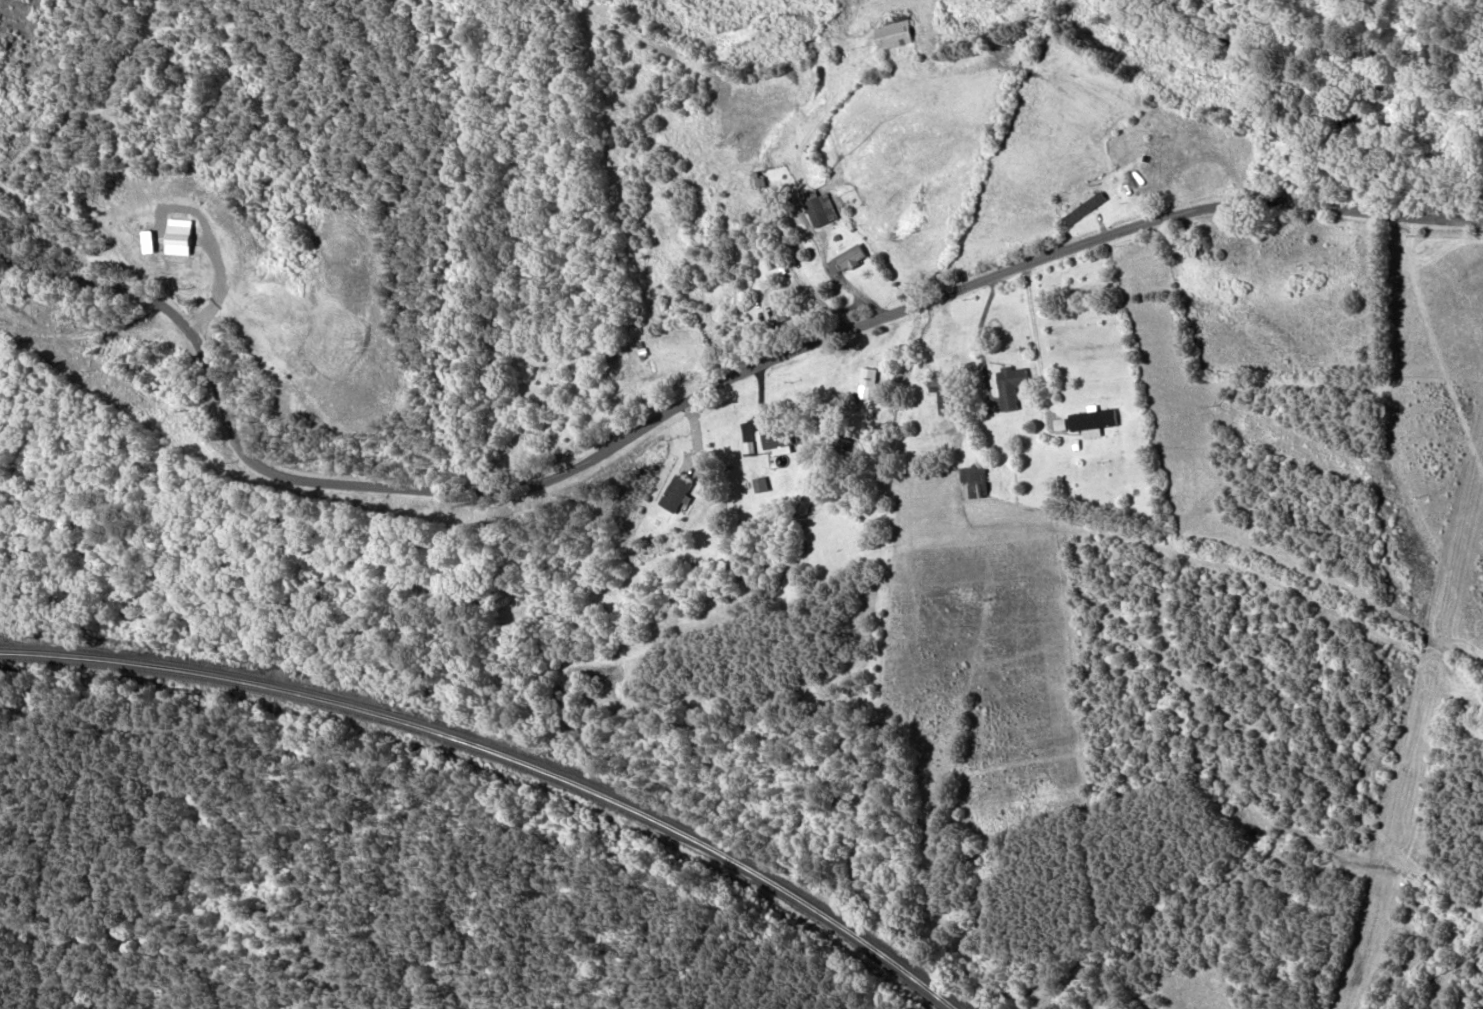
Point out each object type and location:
building: (893, 35)
building: (754, 185)
building: (815, 206)
building: (1082, 209)
building: (846, 258)
building: (1007, 387)
road: (695, 397)
building: (941, 398)
building: (1089, 420)
building: (770, 438)
building: (969, 475)
building: (755, 485)
building: (672, 494)
railway: (506, 754)

